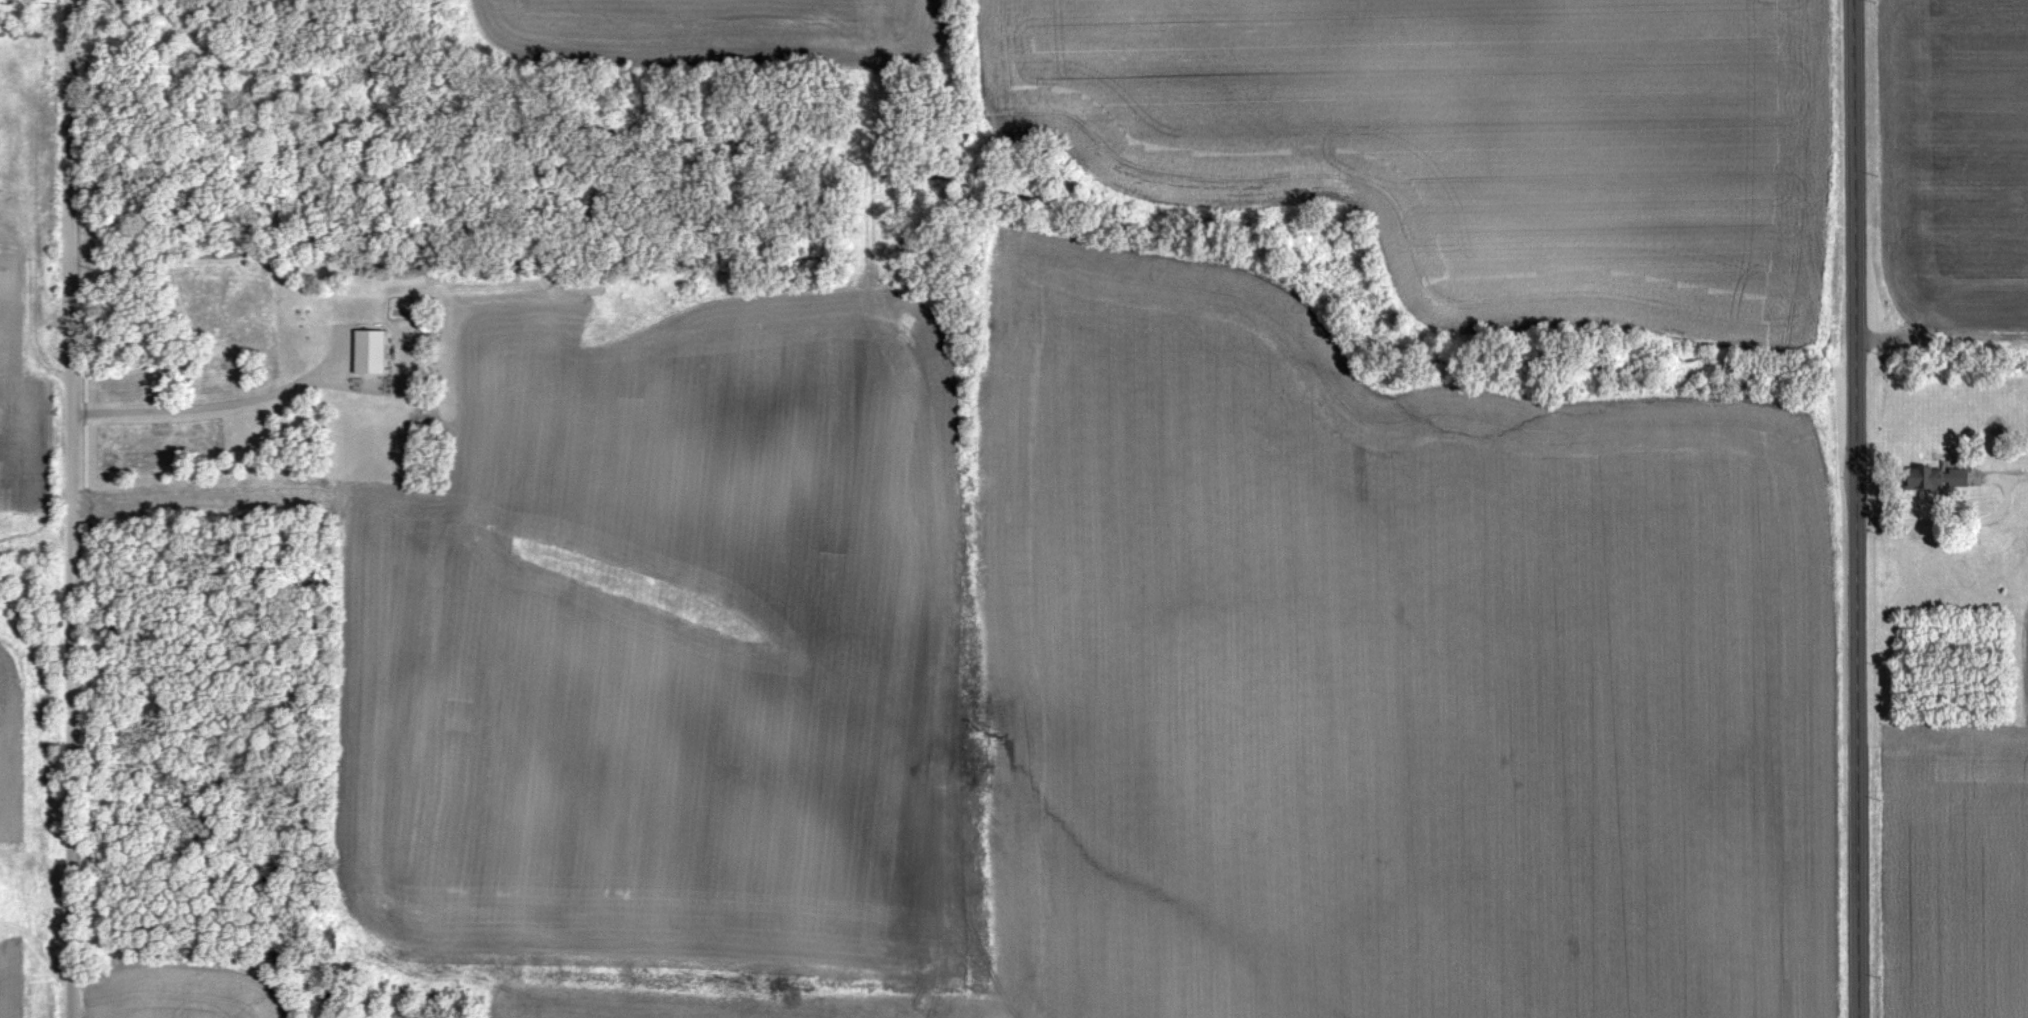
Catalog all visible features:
building: (375, 354)
road: (218, 407)
road: (71, 508)
road: (1858, 508)

